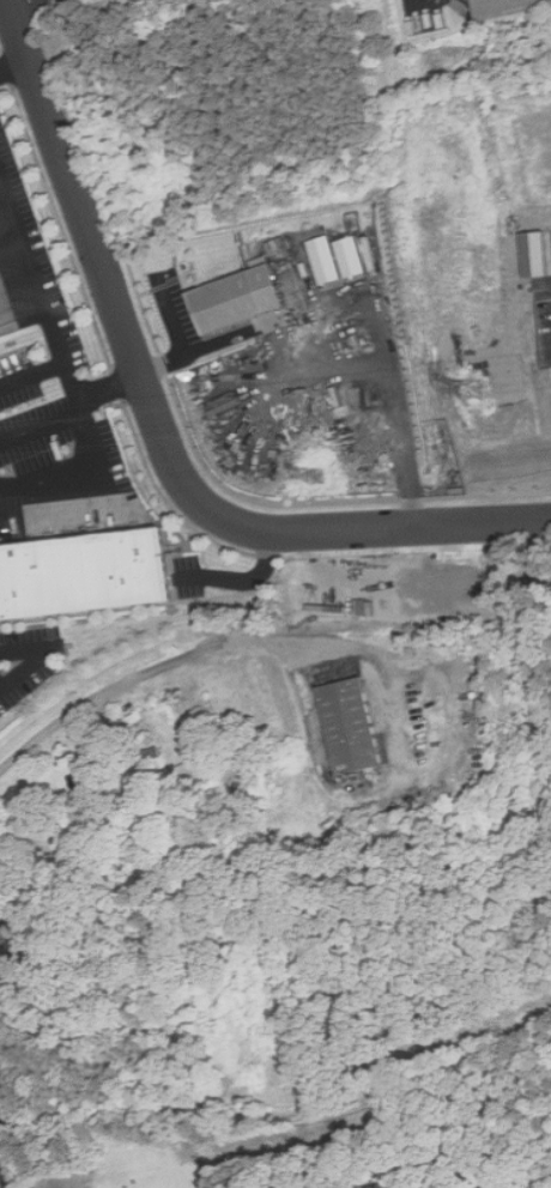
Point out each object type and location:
road: (20, 4)
building: (511, 7)
road: (13, 66)
building: (539, 254)
building: (361, 256)
building: (243, 297)
road: (43, 303)
road: (184, 339)
road: (211, 346)
road: (108, 384)
power tower: (480, 395)
road: (79, 408)
road: (157, 423)
road: (40, 425)
power tower: (322, 475)
road: (52, 480)
building: (83, 575)
road: (242, 577)
road: (208, 647)
road: (42, 656)
building: (353, 726)
building: (90, 782)
building: (10, 933)
road: (5, 1174)

